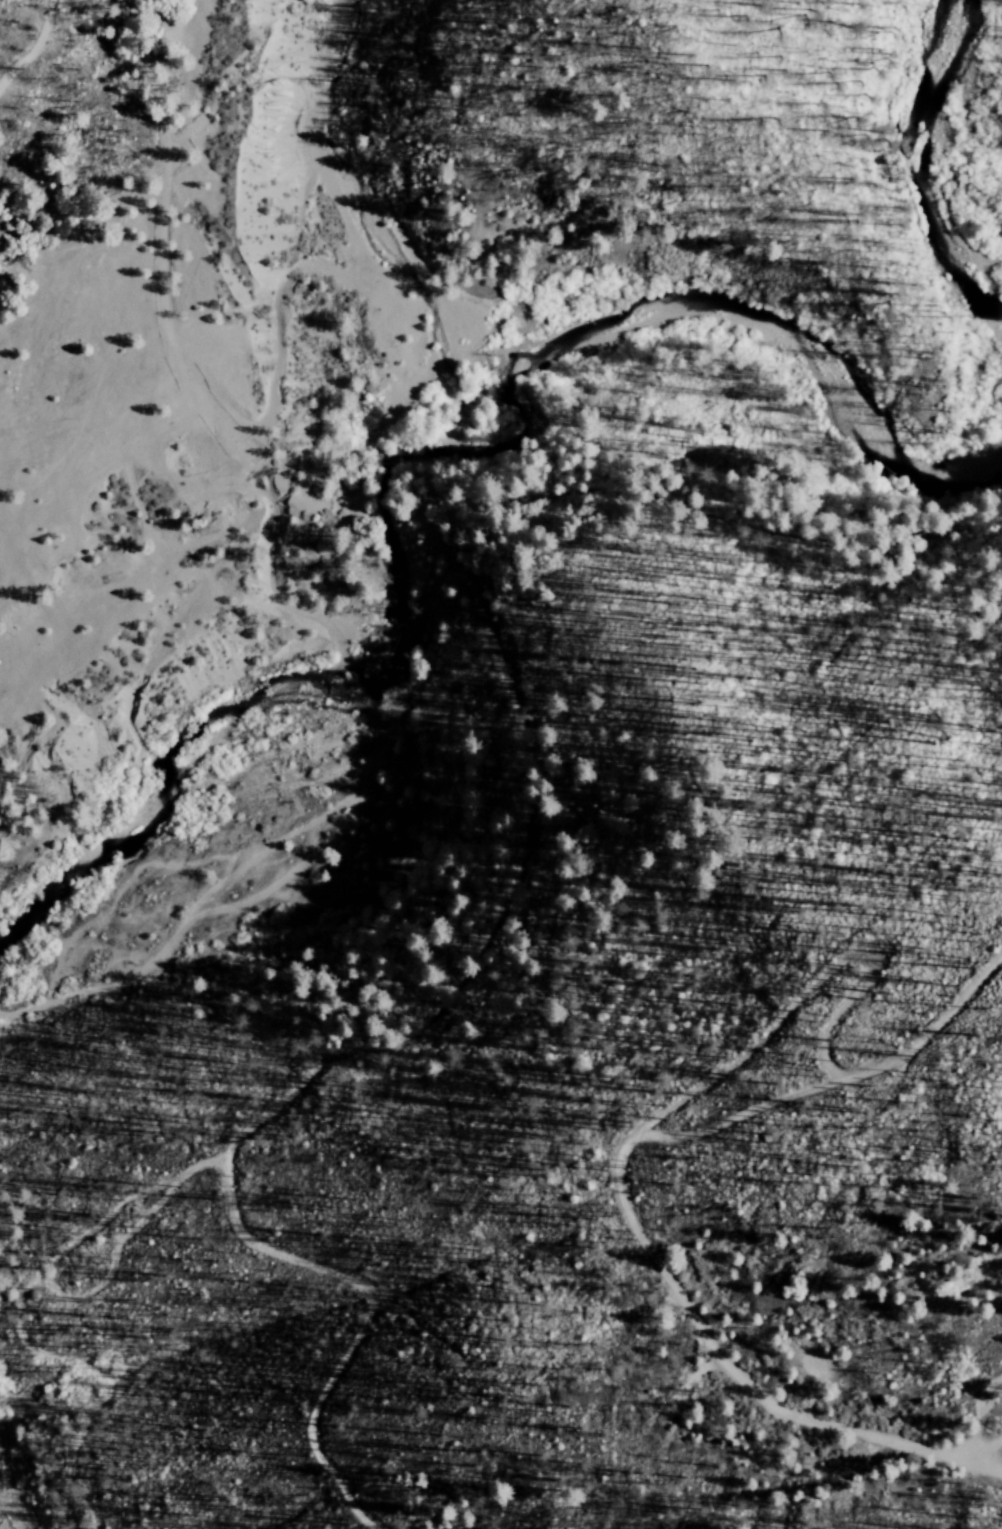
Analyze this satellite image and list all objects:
road: (31, 45)
road: (162, 294)
road: (339, 1049)
road: (665, 1109)

